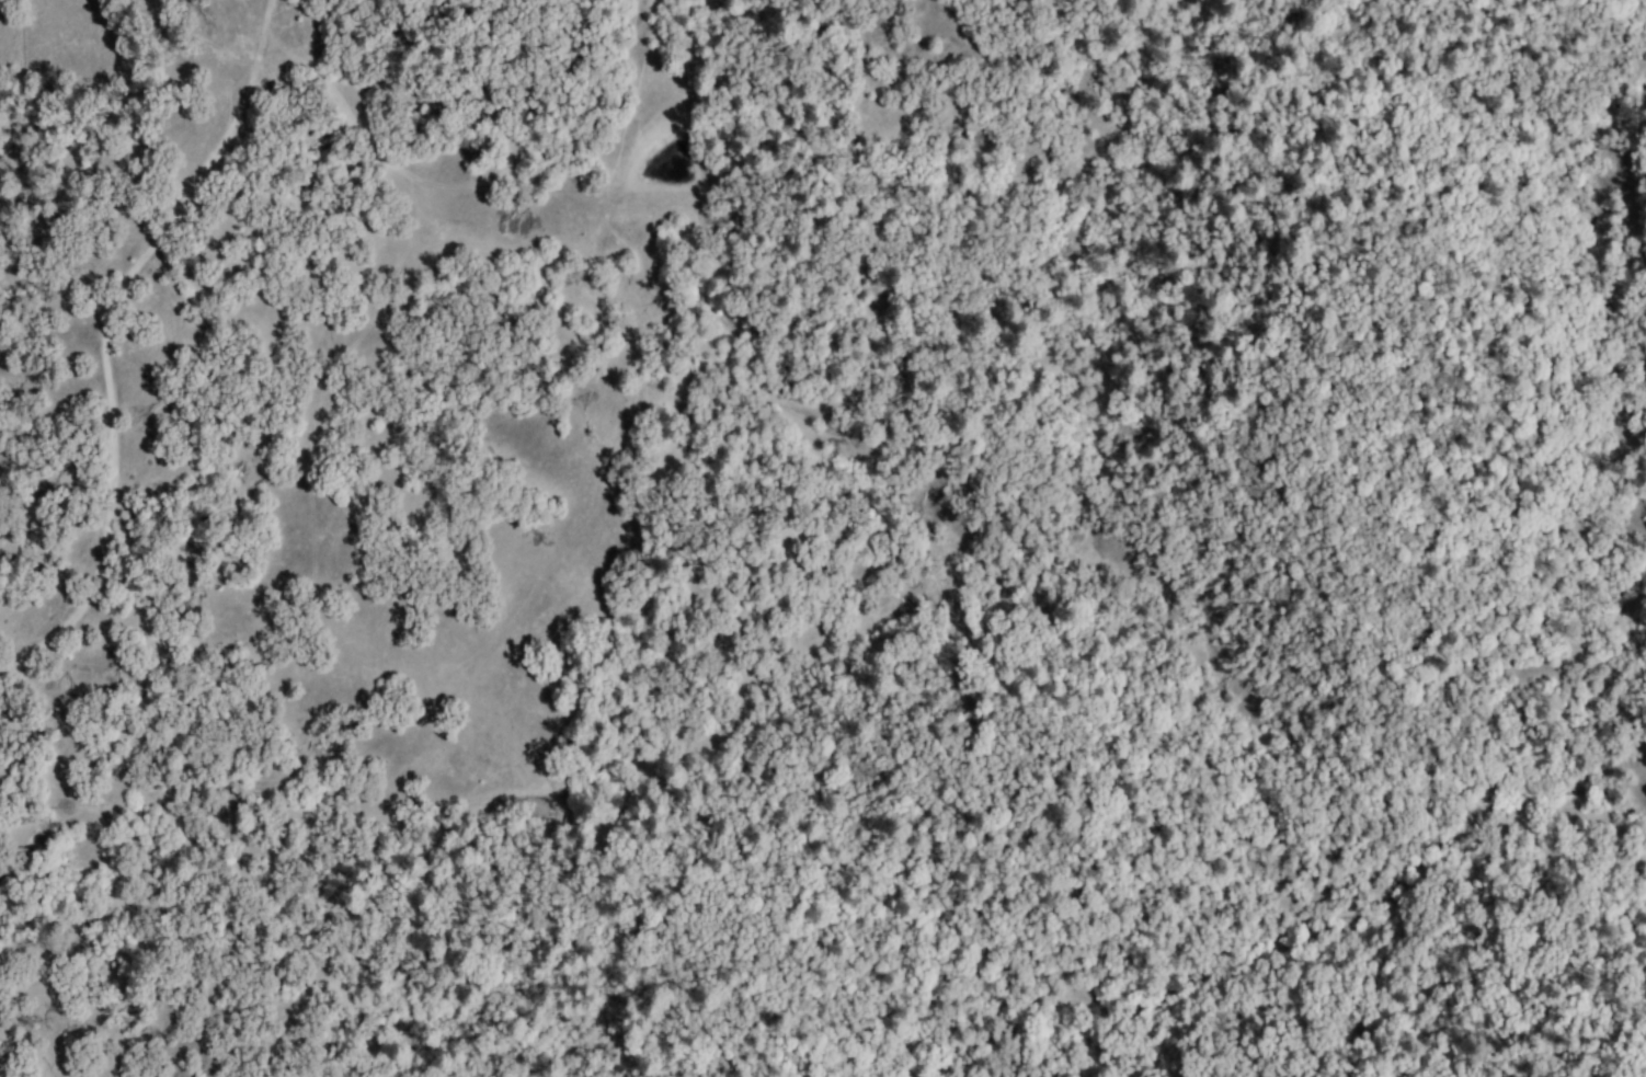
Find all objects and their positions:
road: (100, 340)

